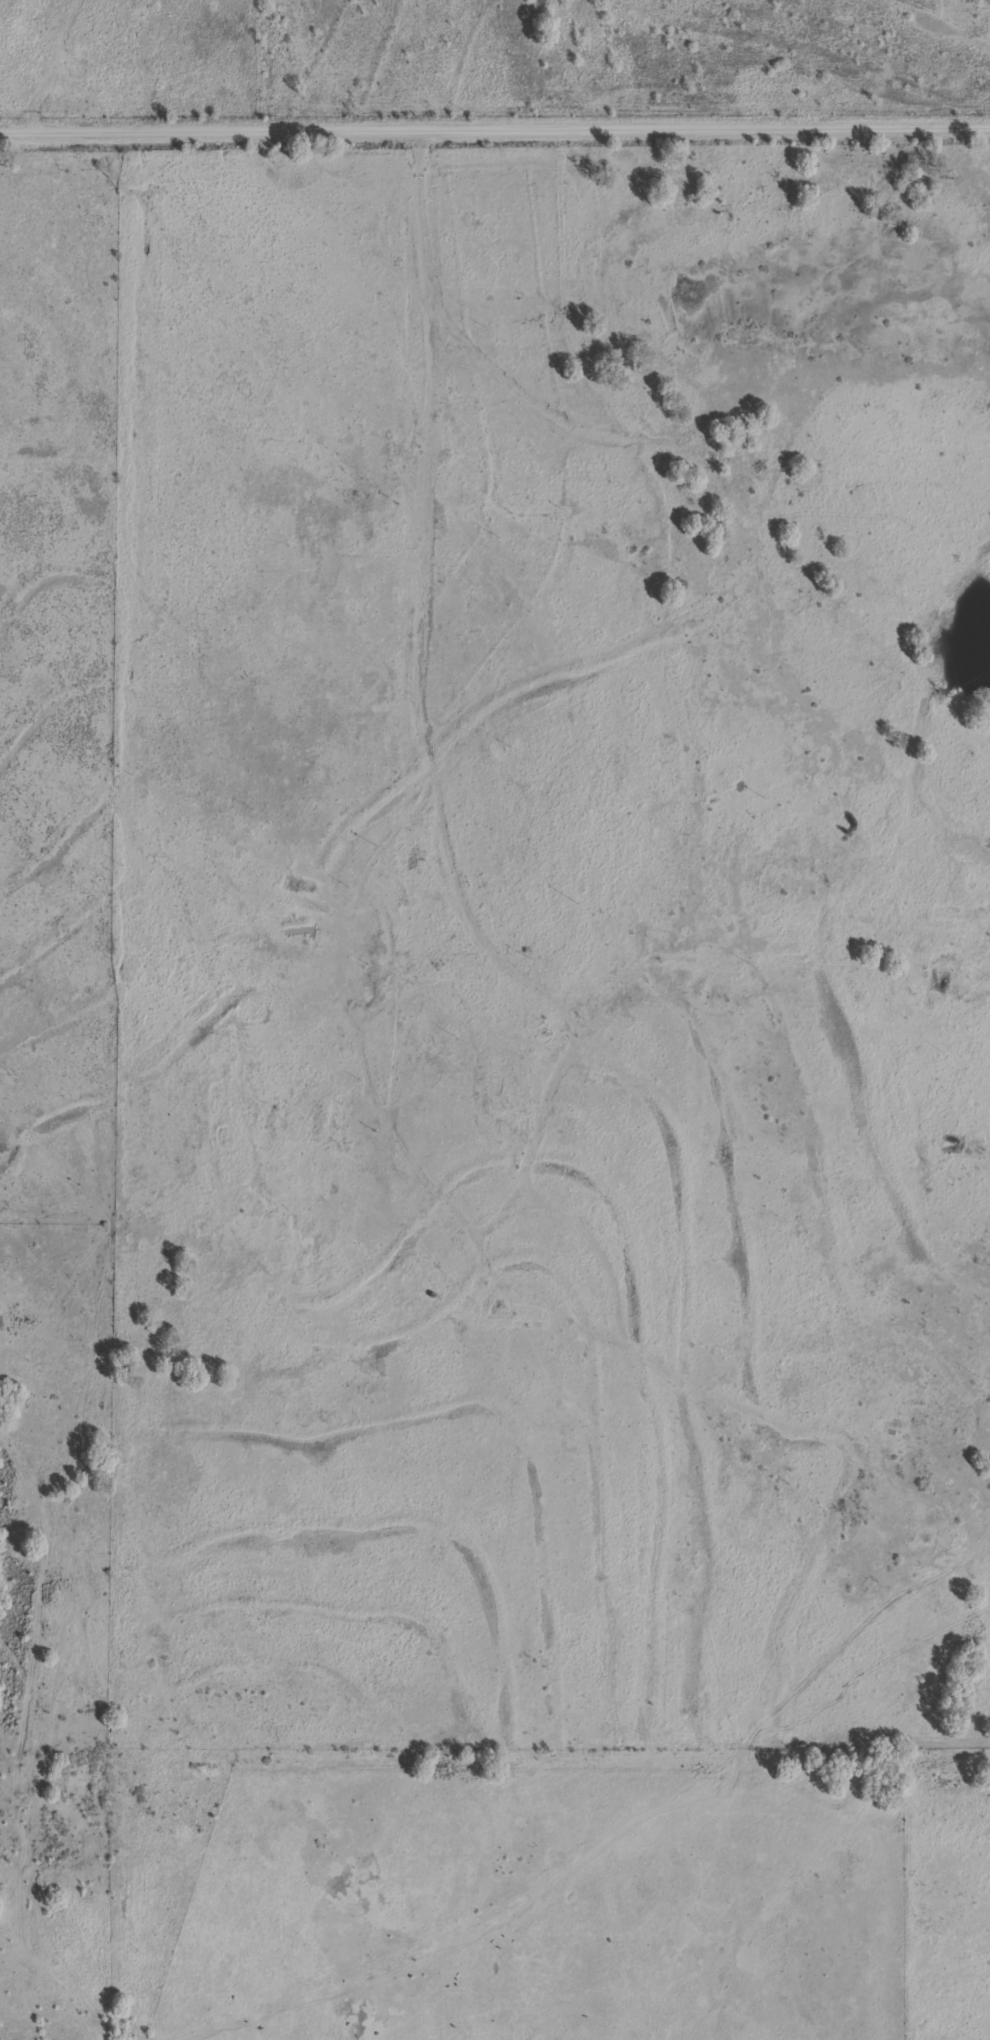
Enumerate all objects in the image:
road: (495, 131)

